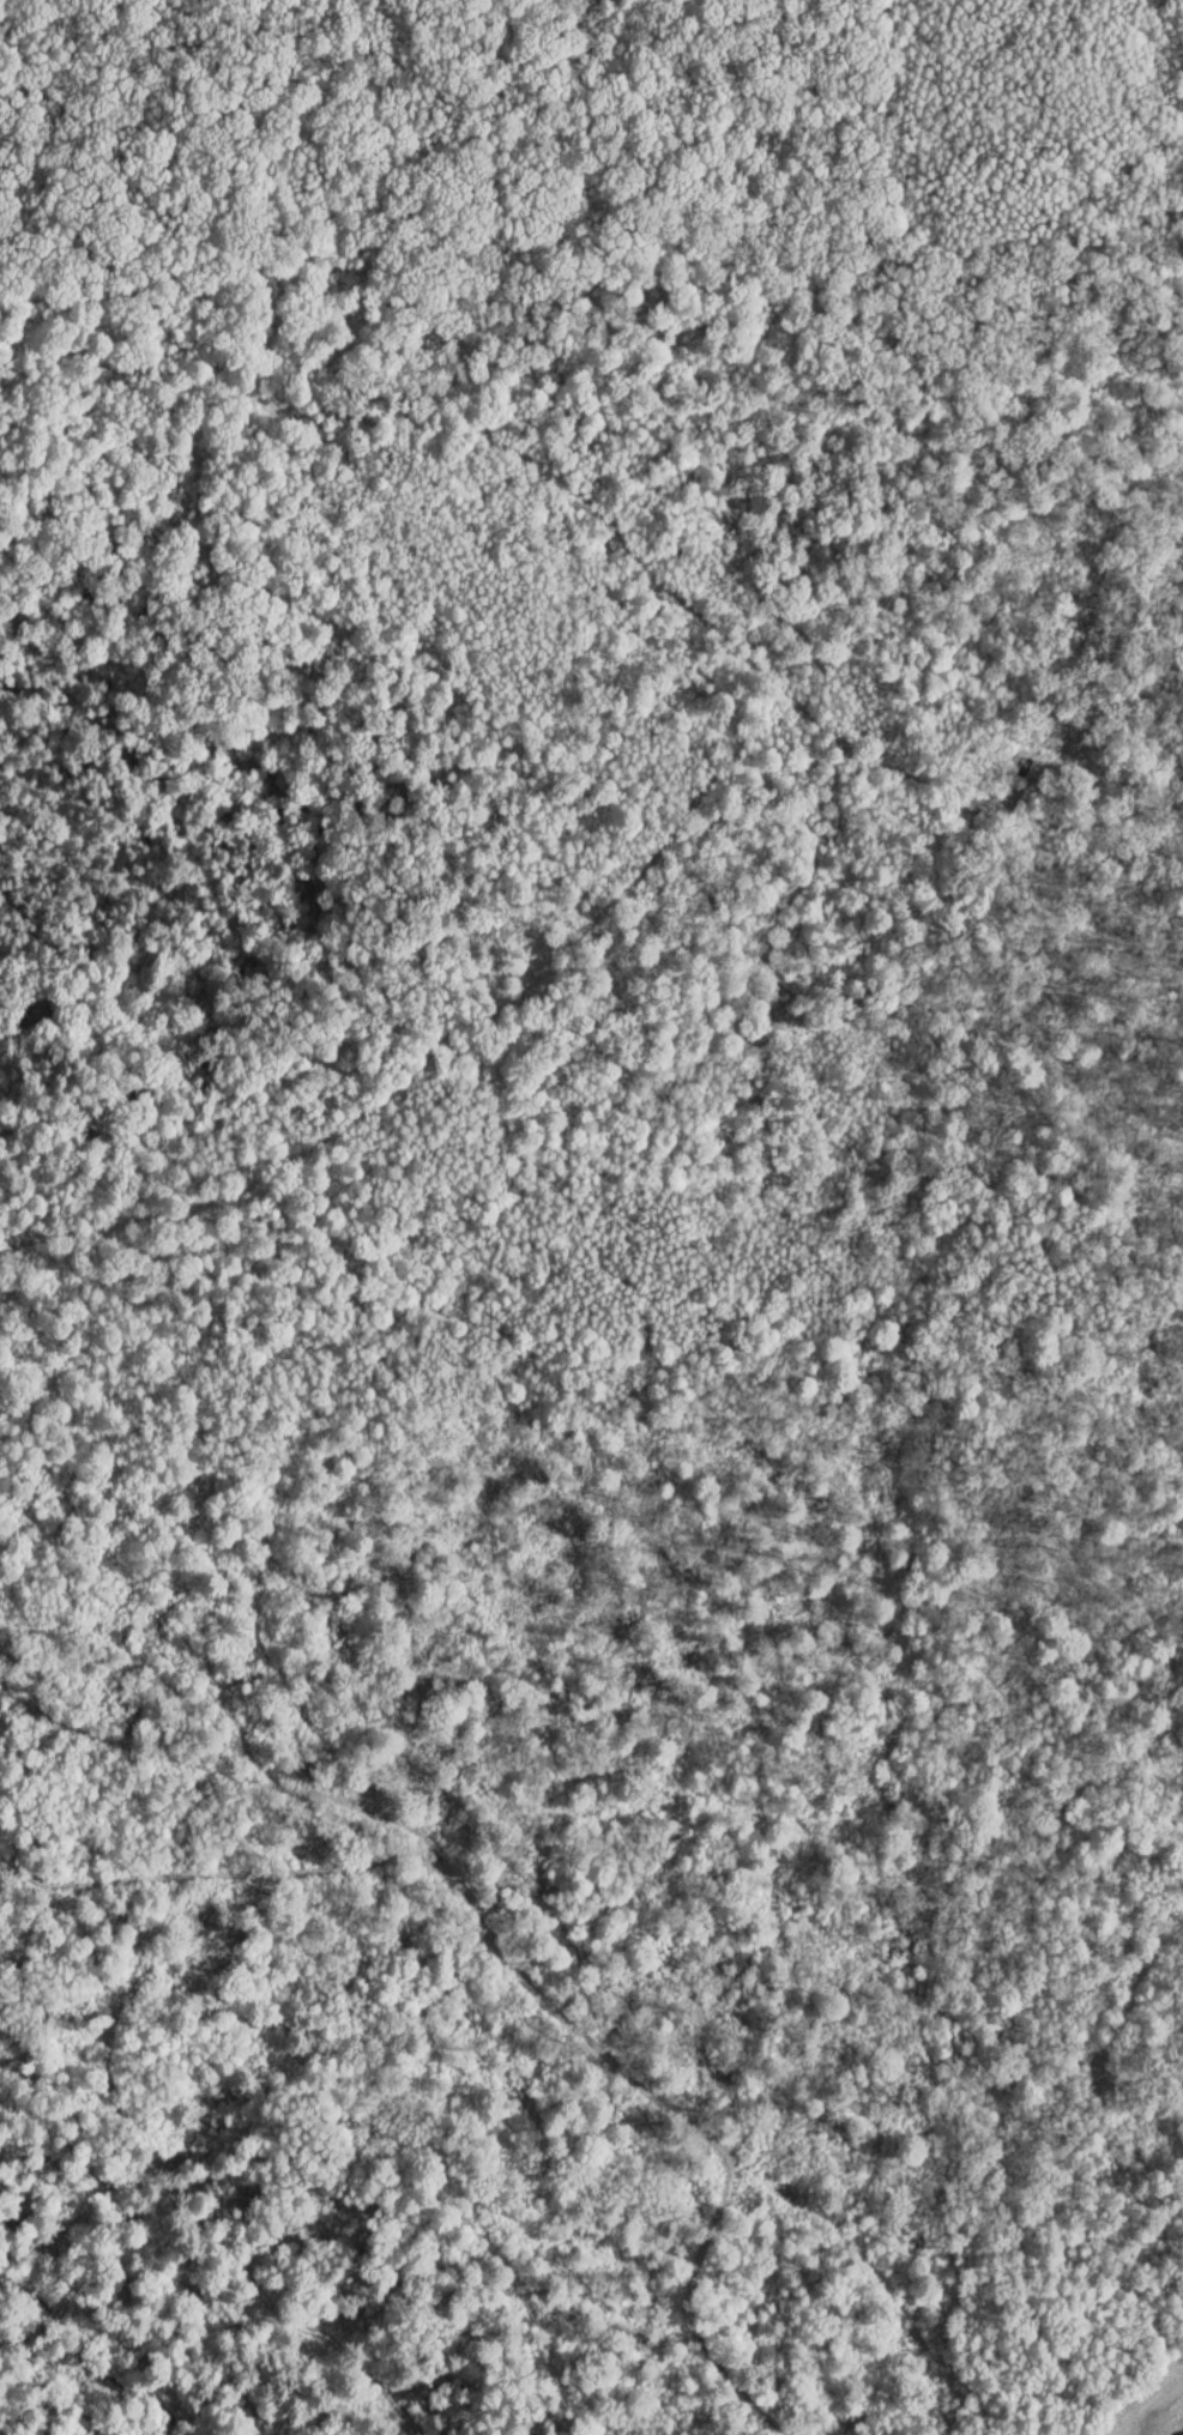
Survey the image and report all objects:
road: (1129, 2394)

